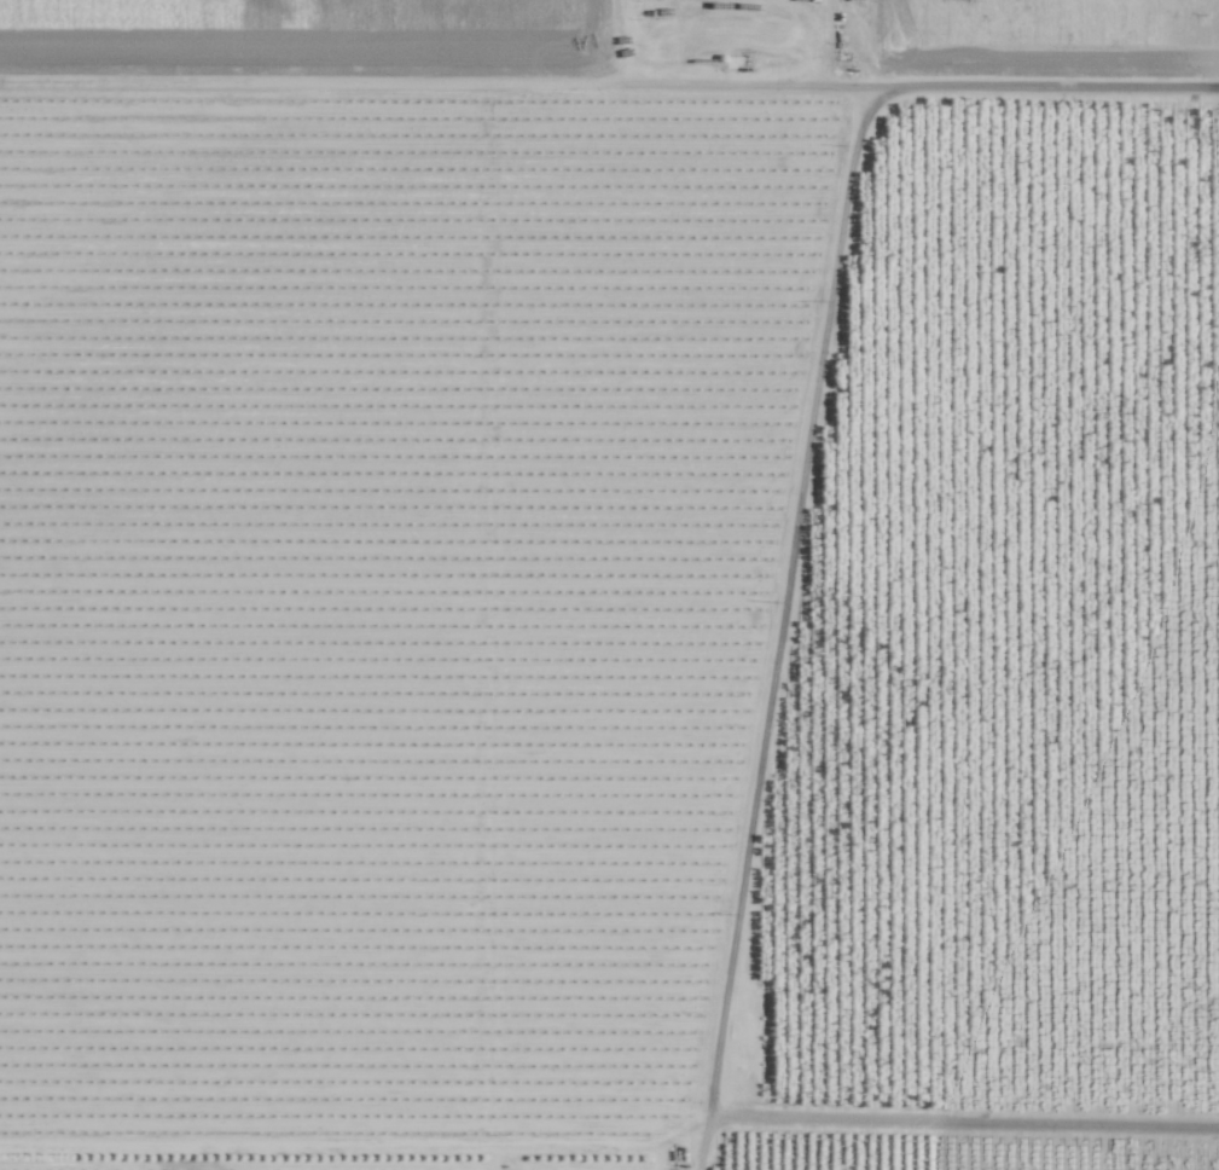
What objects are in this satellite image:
road: (609, 83)
crop: (401, 528)
road: (778, 630)

